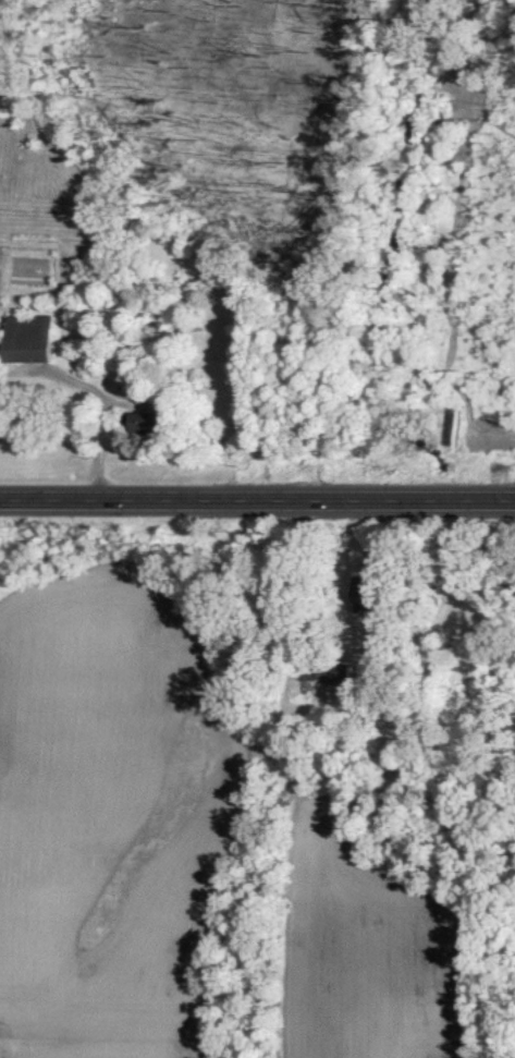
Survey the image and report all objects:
building: (32, 337)
building: (148, 421)
road: (257, 497)
building: (370, 592)
building: (338, 671)

